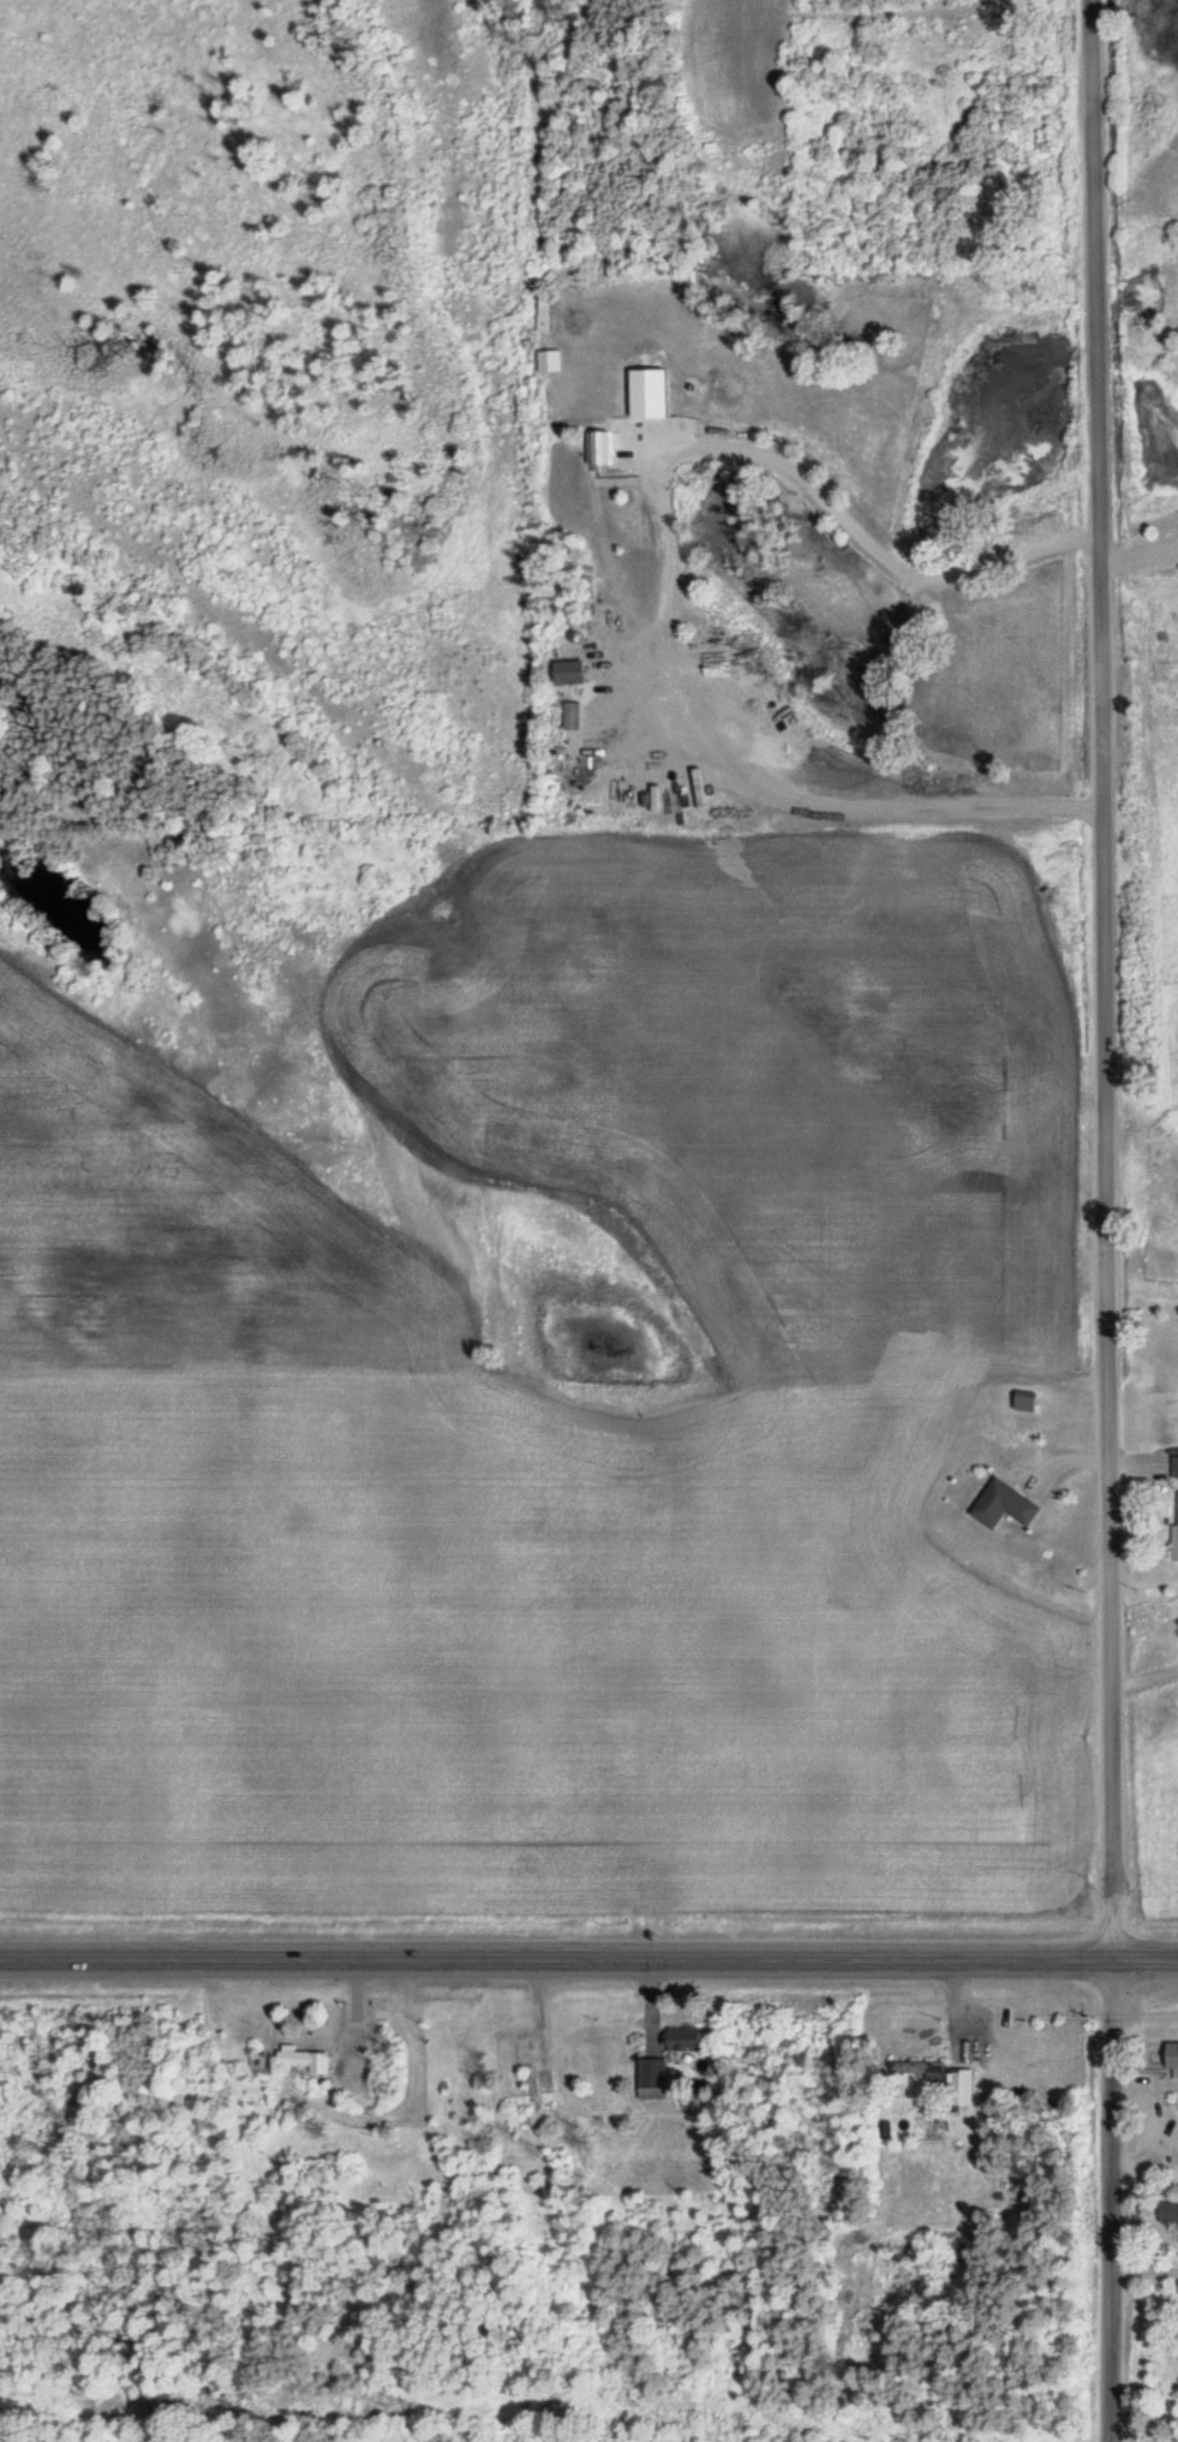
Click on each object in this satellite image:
building: (543, 314)
building: (549, 360)
building: (600, 447)
road: (669, 565)
road: (1104, 975)
building: (1176, 1467)
building: (1003, 1505)
building: (1176, 1528)
road: (588, 1953)
building: (682, 2038)
building: (1171, 2053)
building: (304, 2058)
building: (652, 2078)
building: (959, 2086)
road: (1108, 2197)
building: (1167, 2211)

